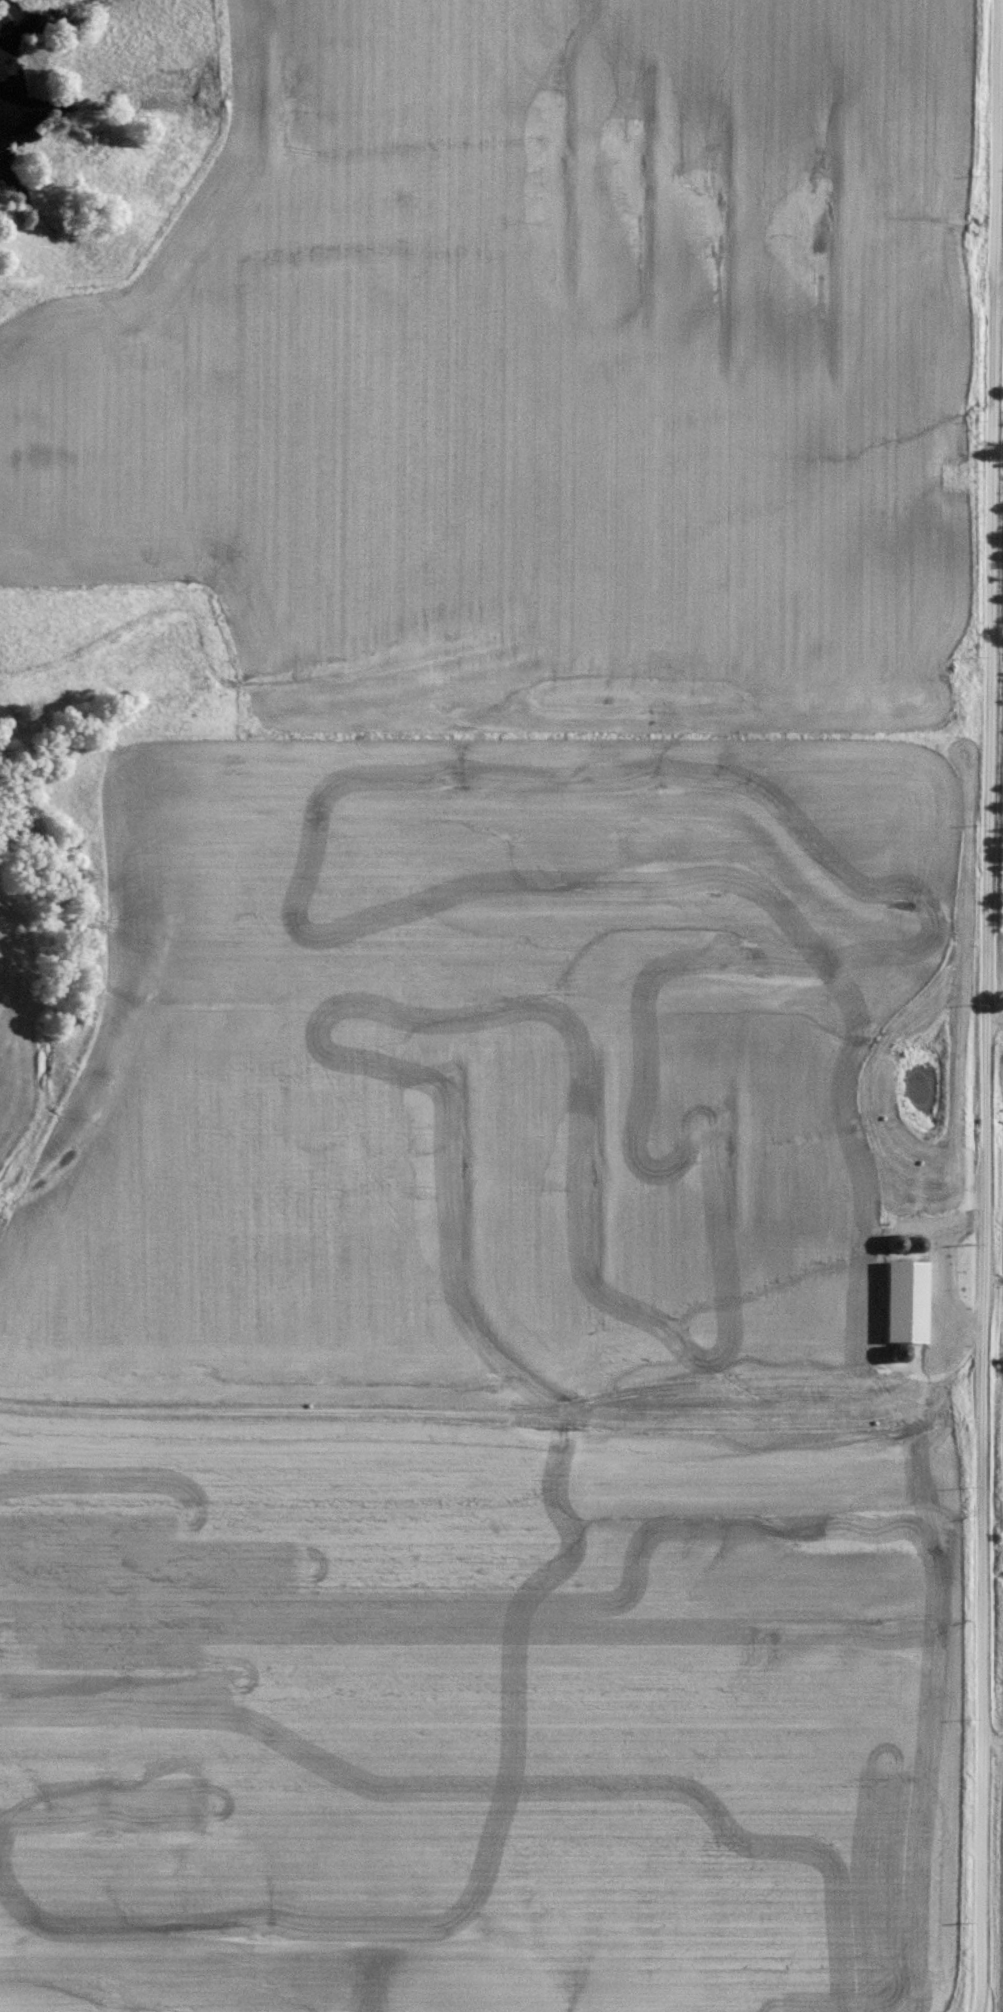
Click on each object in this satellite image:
road: (986, 1006)
road: (994, 1023)
building: (904, 1302)

